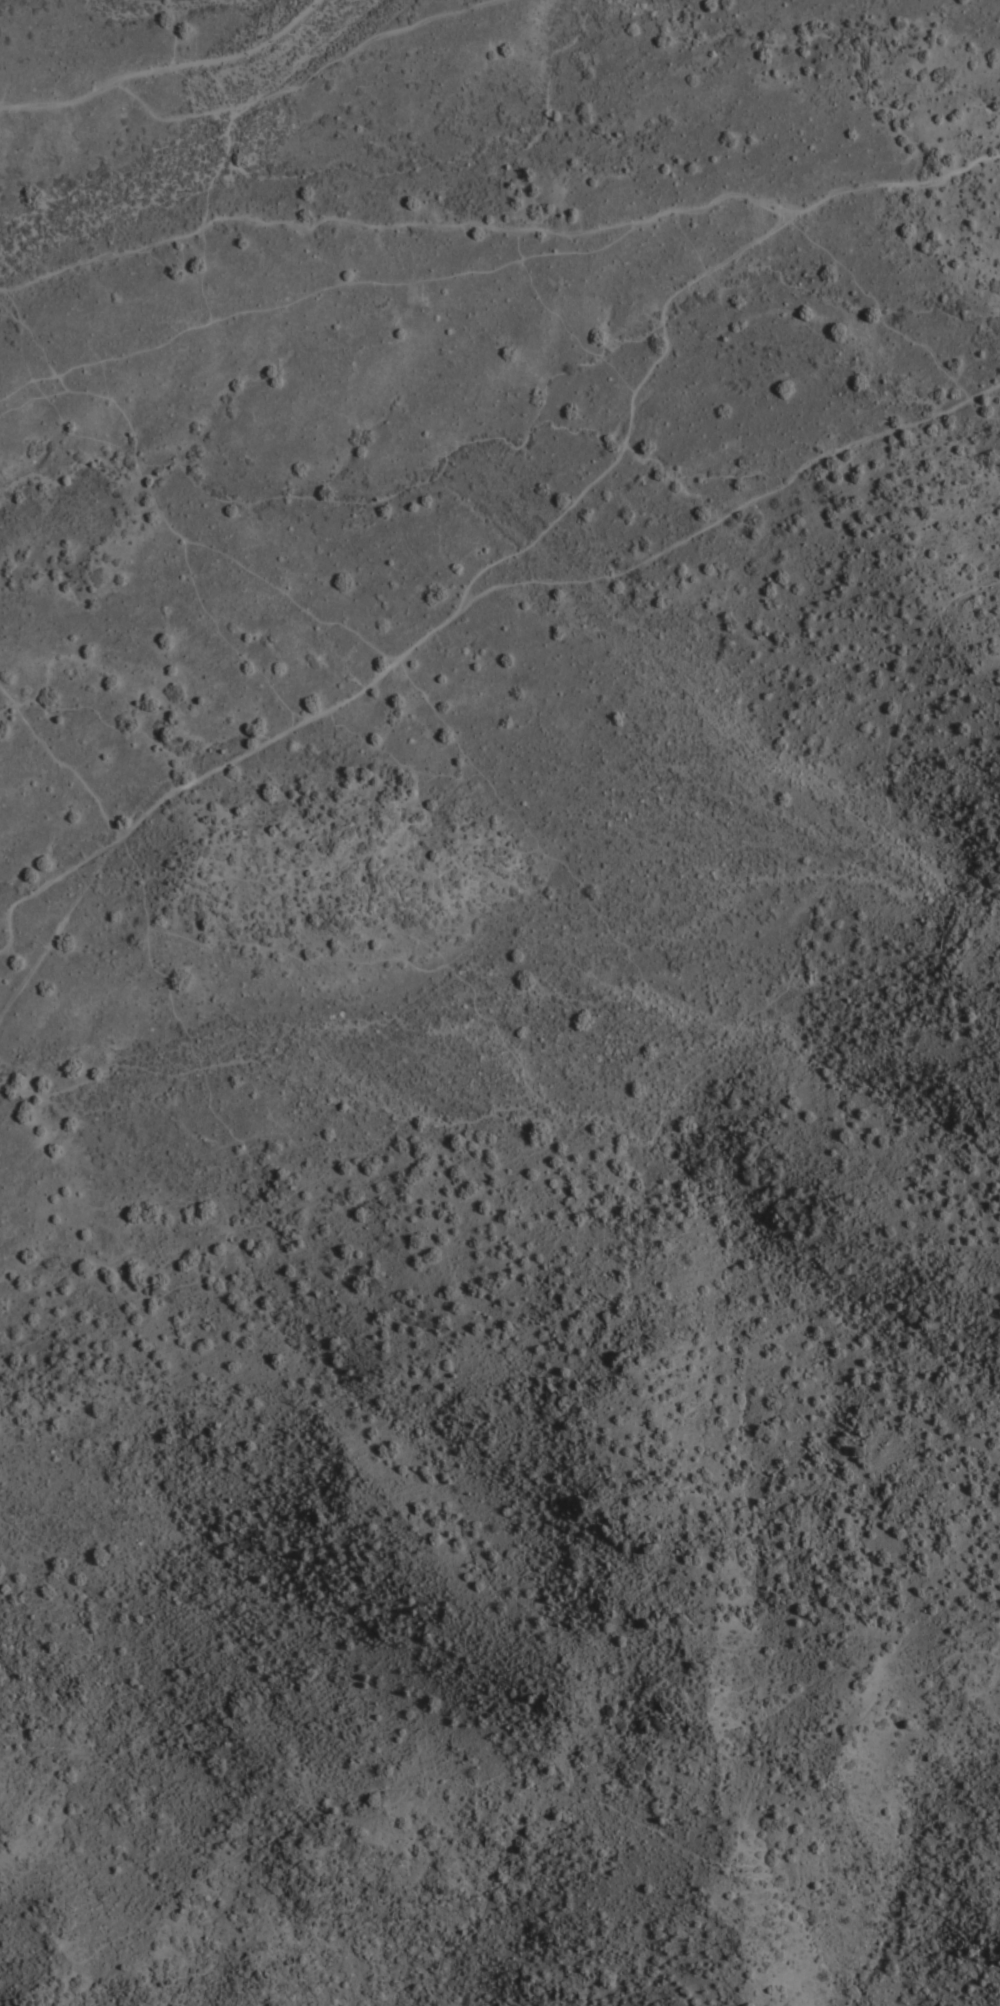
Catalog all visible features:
road: (164, 68)
road: (309, 77)
road: (174, 117)
road: (502, 230)
road: (293, 298)
road: (883, 306)
road: (818, 458)
road: (162, 516)
road: (551, 581)
road: (442, 625)
road: (62, 757)
road: (852, 866)
road: (392, 958)
road: (584, 1799)

